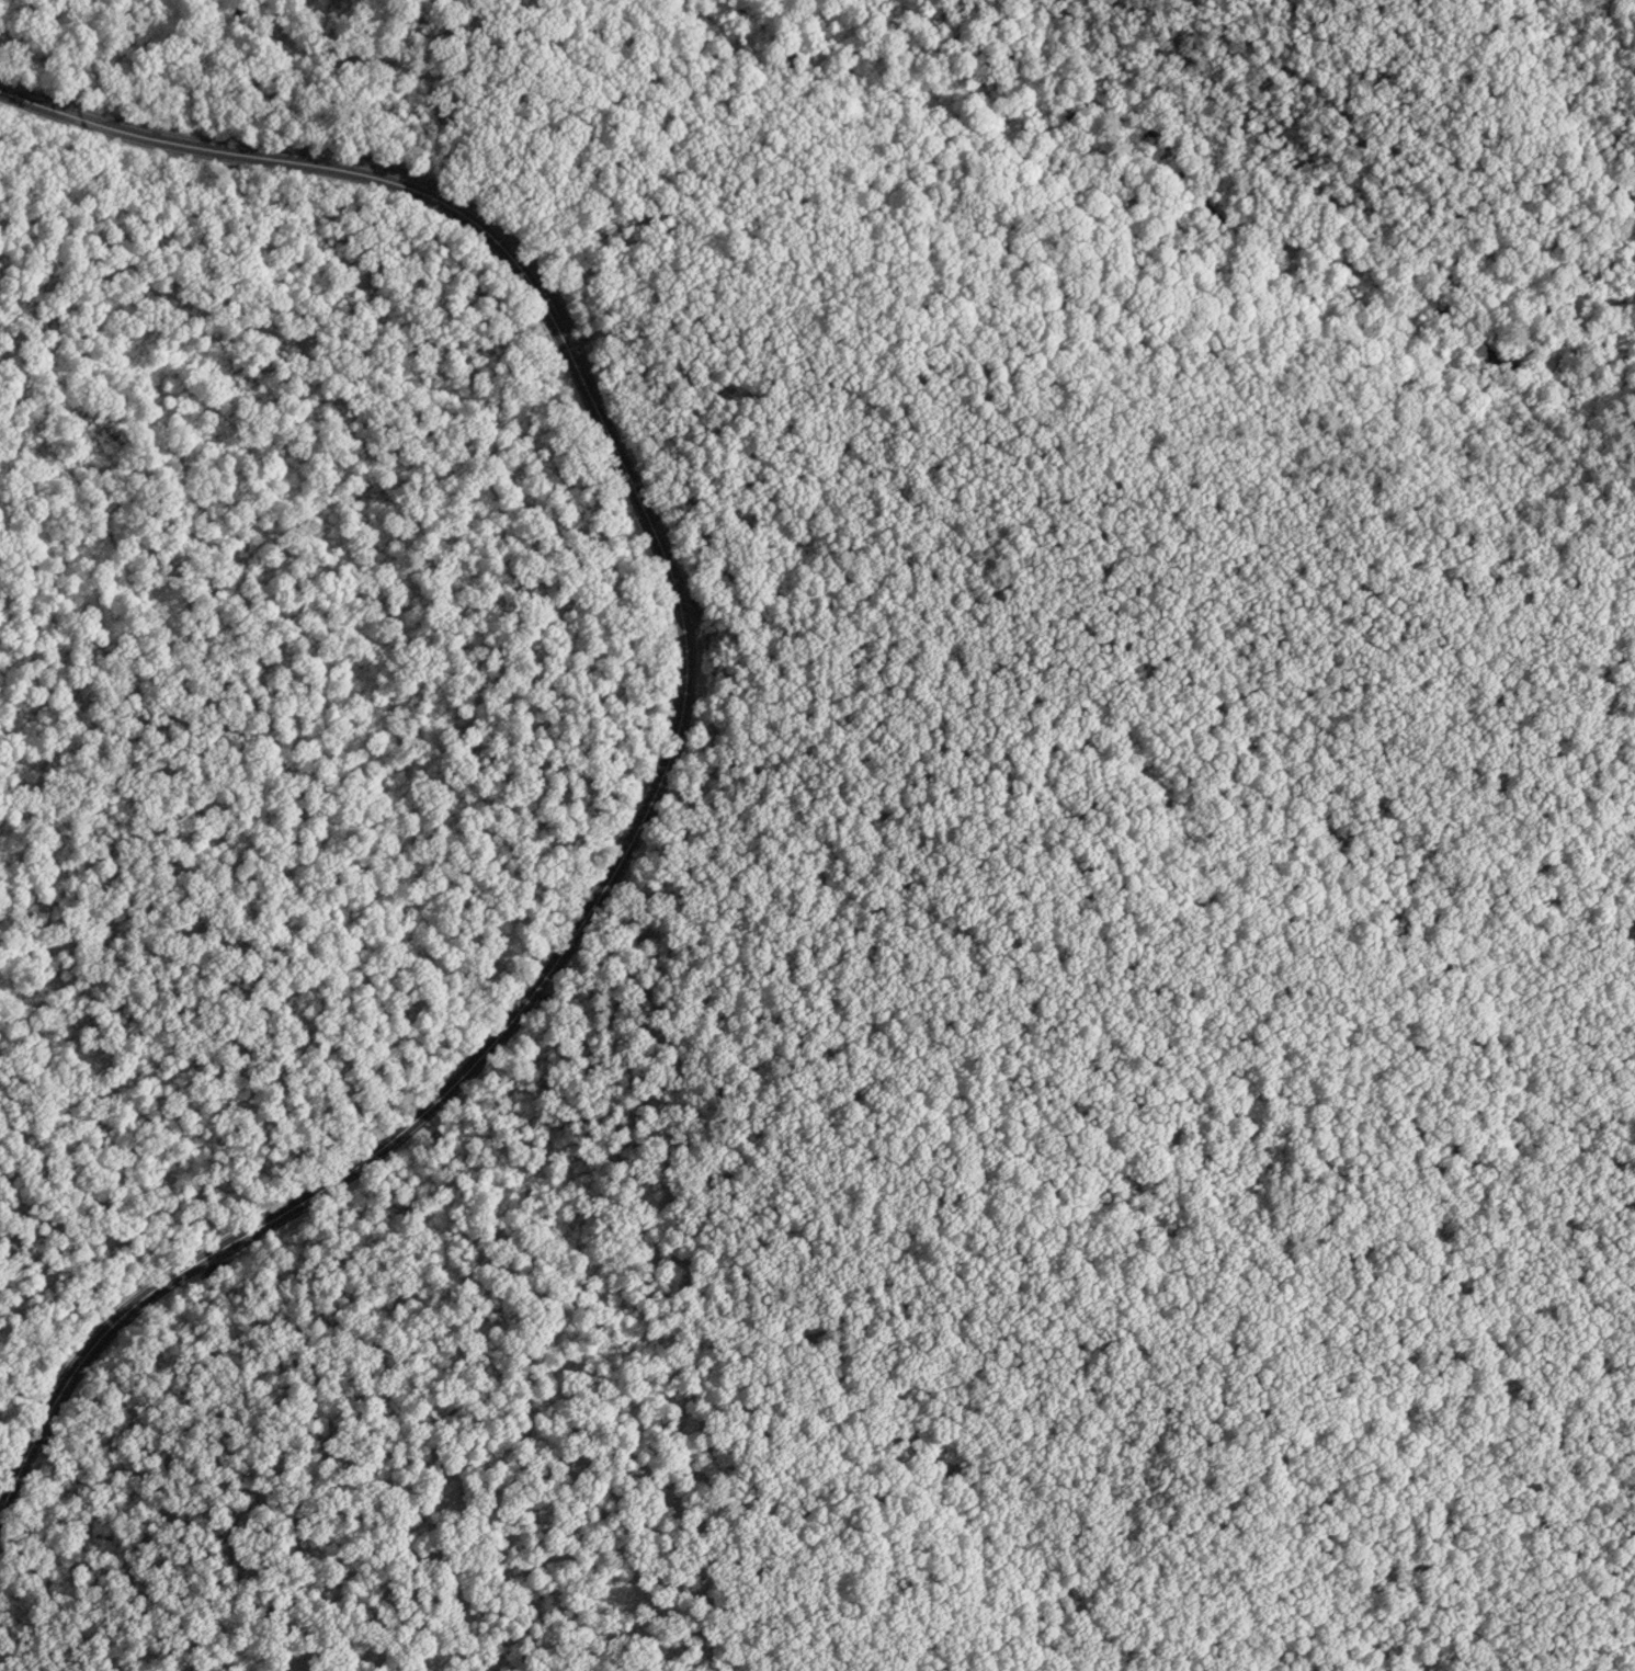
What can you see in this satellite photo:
road: (677, 732)

